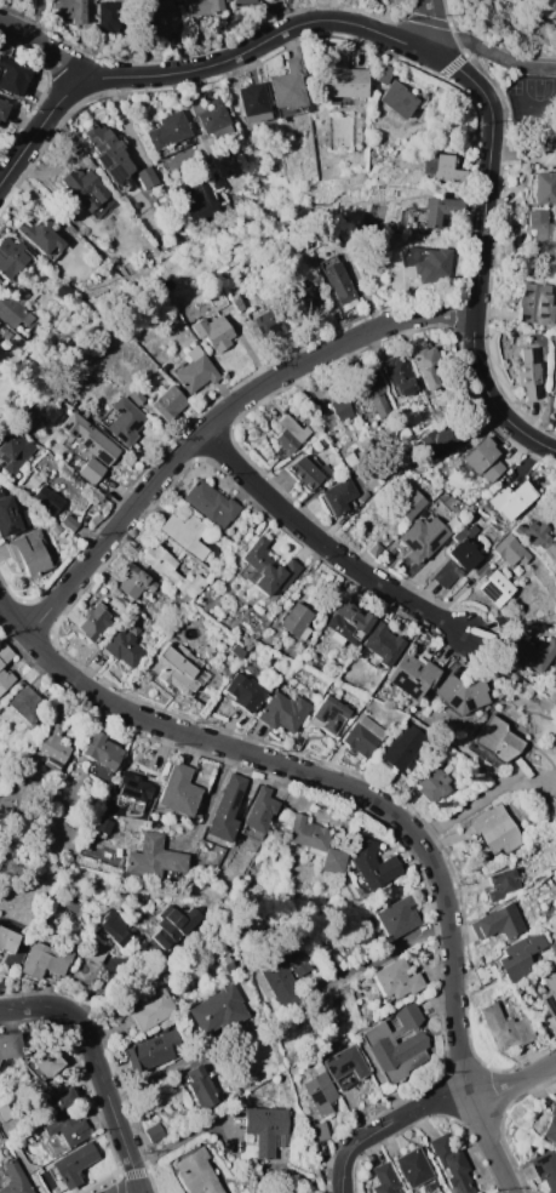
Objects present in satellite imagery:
building: (242, 1)
road: (550, 4)
building: (202, 7)
building: (71, 10)
building: (108, 17)
building: (162, 17)
road: (38, 18)
road: (428, 24)
road: (45, 46)
road: (488, 50)
park: (516, 59)
road: (193, 68)
building: (383, 73)
building: (15, 76)
building: (342, 82)
park: (515, 87)
park: (541, 89)
building: (288, 91)
building: (397, 99)
building: (252, 102)
building: (4, 108)
building: (211, 119)
road: (527, 121)
road: (499, 122)
building: (167, 130)
building: (543, 153)
building: (109, 155)
building: (179, 156)
building: (443, 169)
building: (147, 176)
building: (216, 183)
building: (544, 188)
building: (87, 190)
building: (196, 201)
building: (430, 212)
building: (543, 235)
building: (41, 236)
road: (480, 250)
building: (11, 256)
building: (426, 263)
building: (338, 280)
building: (0, 281)
building: (21, 292)
building: (64, 292)
building: (304, 298)
building: (217, 299)
building: (237, 303)
building: (537, 303)
building: (13, 312)
building: (271, 325)
building: (214, 332)
building: (426, 369)
building: (195, 371)
building: (528, 373)
building: (399, 376)
building: (554, 383)
building: (372, 388)
building: (136, 396)
building: (168, 403)
building: (299, 404)
building: (342, 410)
road: (213, 418)
building: (125, 421)
building: (290, 435)
building: (446, 435)
building: (90, 438)
building: (15, 451)
building: (351, 457)
building: (483, 459)
building: (91, 470)
building: (308, 470)
building: (357, 484)
building: (337, 496)
building: (365, 497)
building: (47, 500)
building: (511, 500)
building: (211, 503)
building: (408, 503)
building: (470, 510)
building: (11, 516)
building: (474, 518)
building: (68, 520)
building: (56, 529)
building: (185, 533)
building: (423, 537)
building: (538, 540)
road: (323, 546)
building: (376, 548)
building: (510, 549)
building: (176, 550)
building: (30, 553)
building: (455, 563)
building: (265, 569)
building: (172, 571)
building: (134, 582)
building: (493, 584)
building: (552, 590)
building: (297, 620)
building: (93, 622)
building: (348, 623)
building: (382, 645)
building: (122, 647)
building: (237, 651)
building: (532, 652)
building: (179, 668)
building: (1, 669)
building: (412, 674)
building: (245, 691)
building: (462, 693)
building: (27, 706)
building: (283, 712)
building: (328, 714)
building: (482, 717)
building: (363, 736)
building: (56, 740)
building: (495, 742)
building: (405, 747)
building: (99, 754)
building: (50, 764)
road: (325, 778)
building: (434, 781)
building: (133, 787)
building: (178, 789)
road: (485, 798)
road: (211, 803)
building: (227, 809)
building: (259, 809)
building: (497, 830)
building: (316, 843)
building: (1, 858)
building: (154, 858)
building: (372, 864)
building: (500, 884)
building: (397, 918)
building: (498, 921)
building: (174, 925)
building: (114, 927)
building: (7, 938)
building: (552, 947)
building: (94, 952)
road: (386, 952)
building: (520, 958)
building: (46, 959)
building: (229, 963)
building: (302, 965)
building: (397, 978)
building: (281, 983)
building: (550, 993)
building: (154, 1009)
building: (218, 1012)
building: (328, 1018)
building: (506, 1027)
building: (396, 1043)
building: (10, 1045)
building: (153, 1051)
building: (45, 1064)
building: (344, 1064)
road: (99, 1067)
building: (200, 1088)
building: (320, 1092)
building: (55, 1097)
road: (439, 1100)
building: (551, 1125)
building: (68, 1126)
building: (265, 1128)
building: (320, 1131)
building: (155, 1132)
road: (488, 1146)
building: (74, 1164)
building: (452, 1164)
building: (415, 1169)
building: (545, 1169)
building: (197, 1172)
building: (15, 1178)
building: (385, 1178)
road: (342, 1182)
building: (401, 1189)

